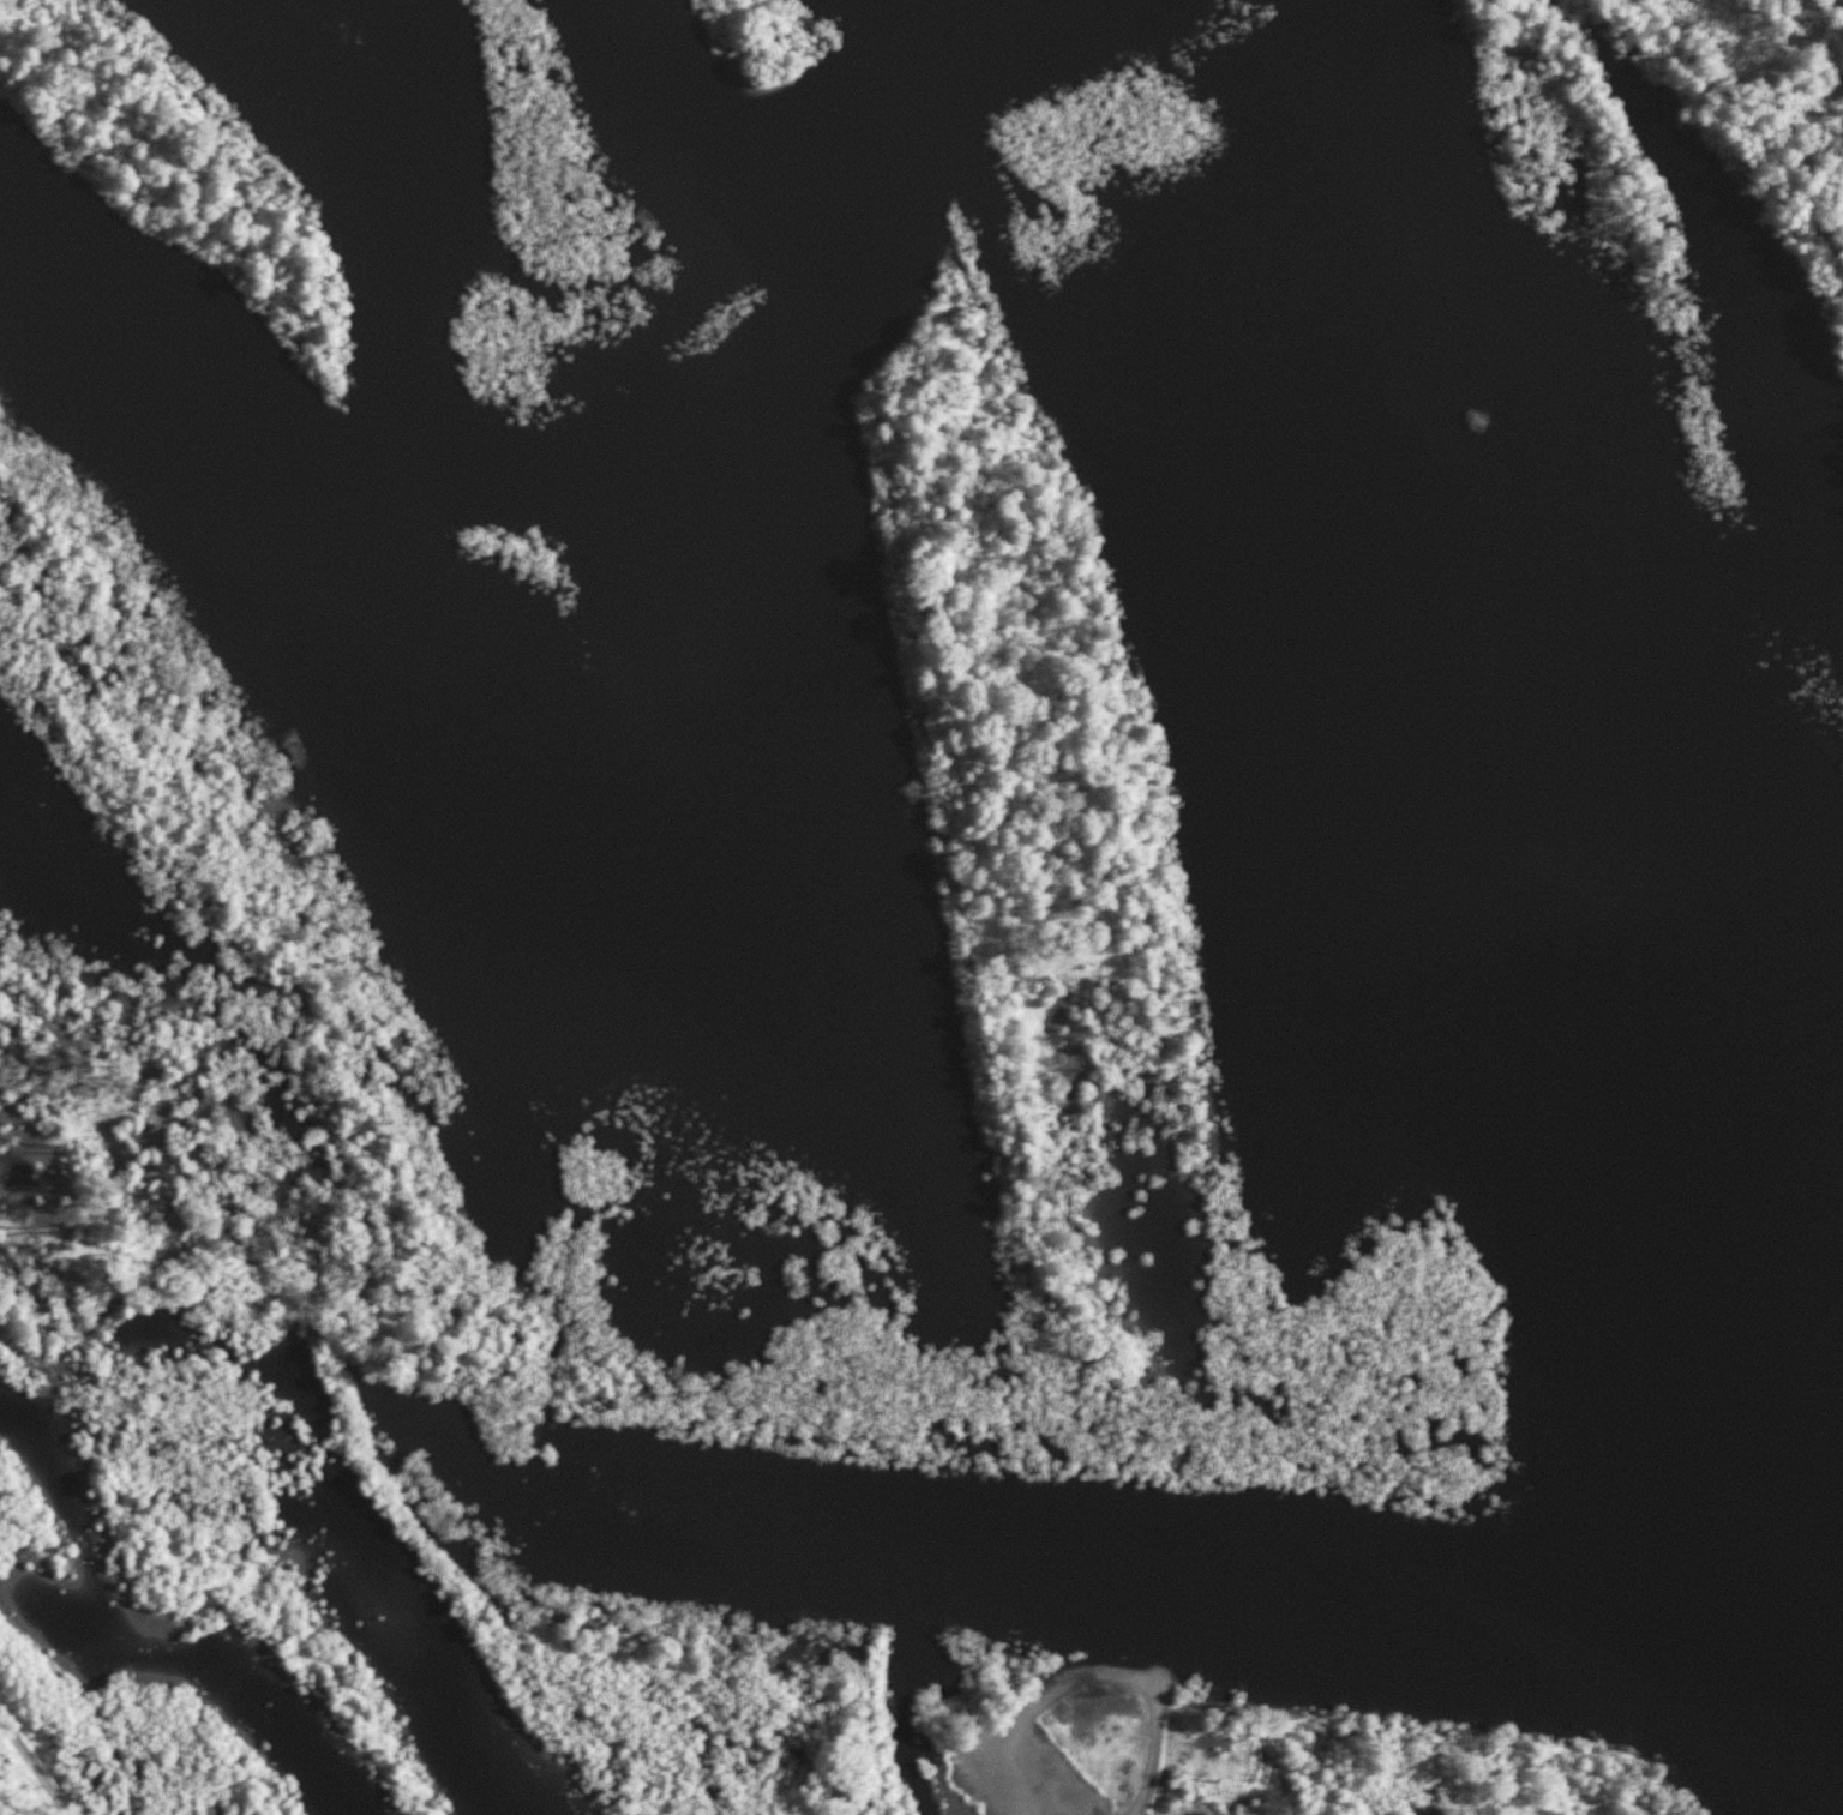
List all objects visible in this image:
road: (54, 1732)

